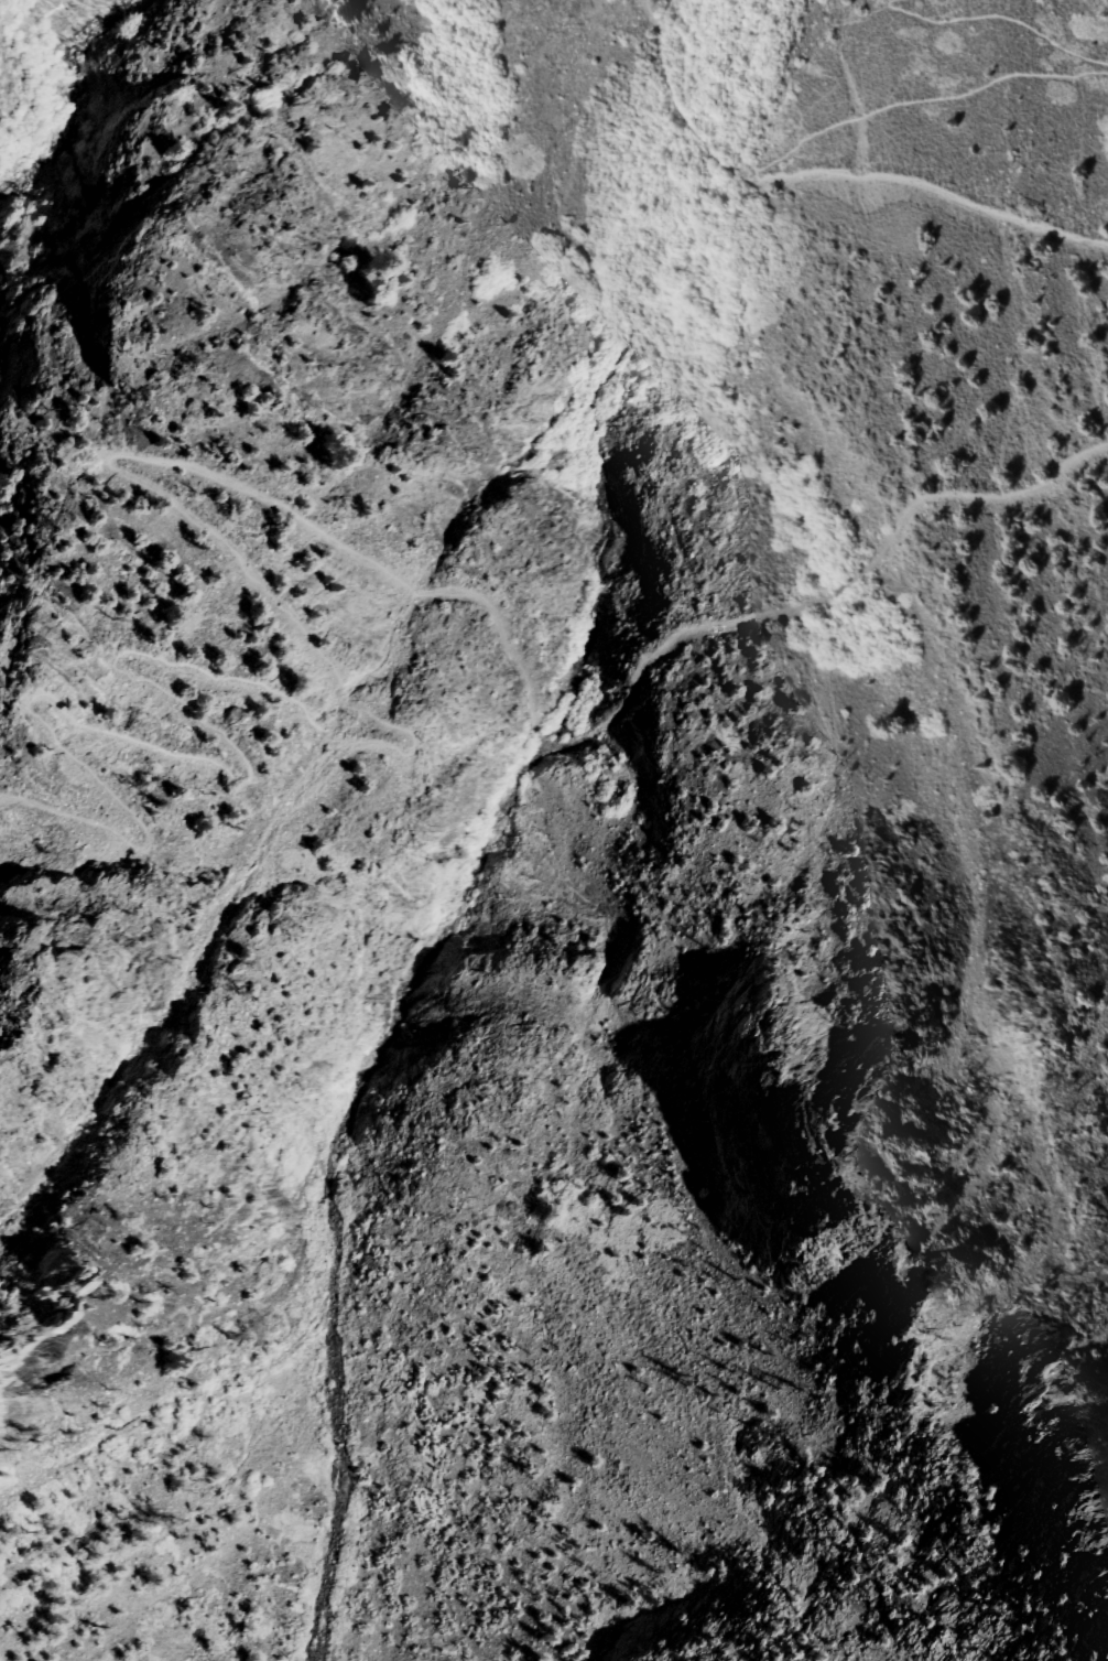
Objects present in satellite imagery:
road: (995, 15)
road: (666, 110)
road: (752, 172)
road: (245, 564)

